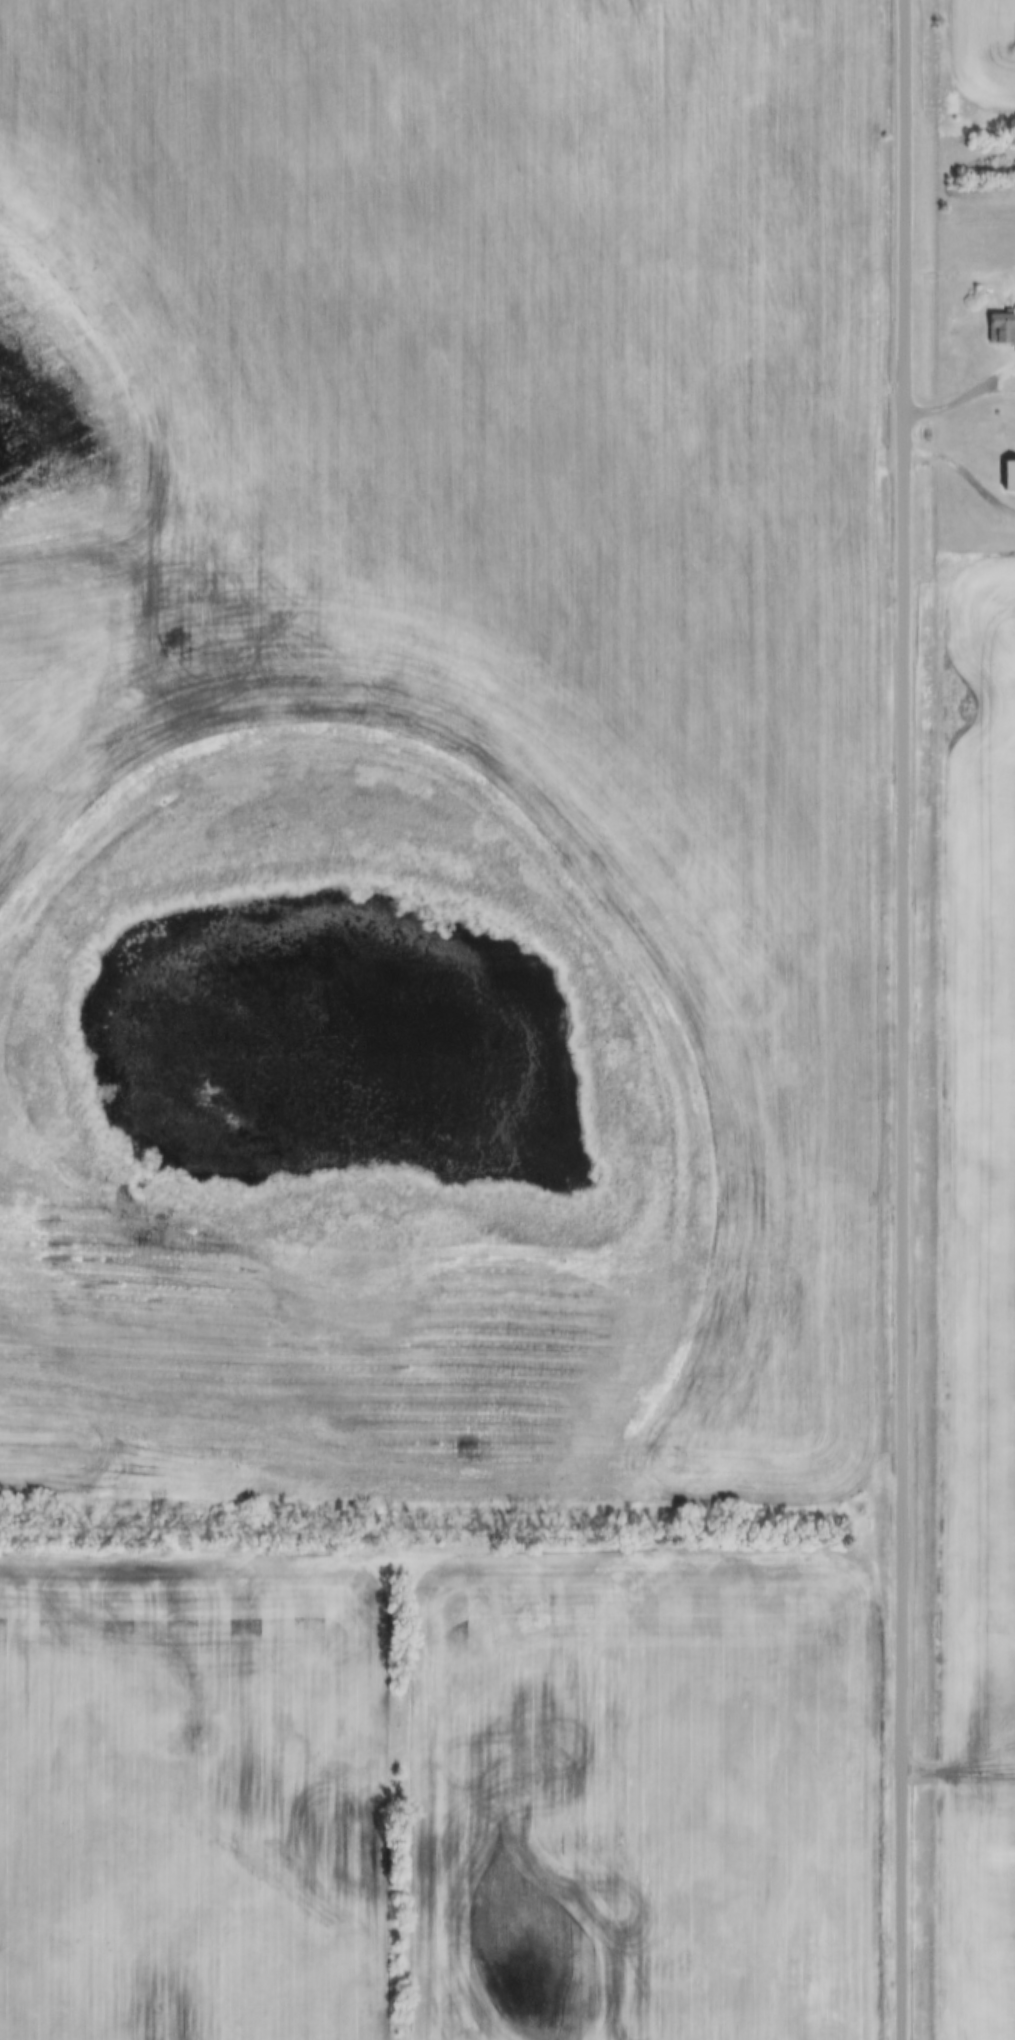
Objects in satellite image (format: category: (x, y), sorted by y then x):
building: (994, 327)
road: (966, 467)
building: (1005, 477)
road: (902, 1019)

